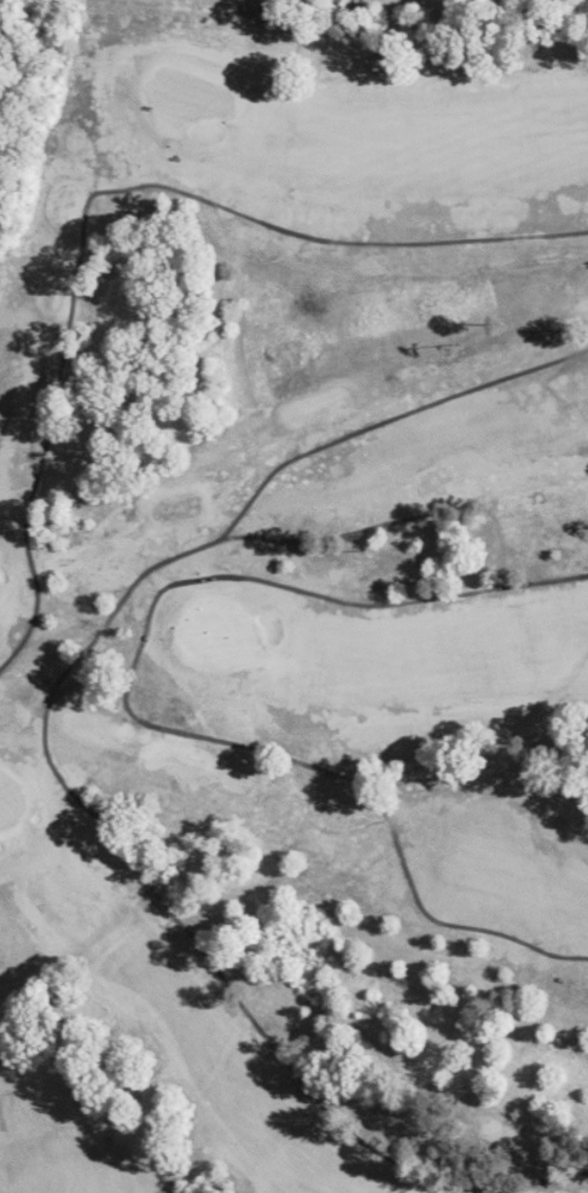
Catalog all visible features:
road: (97, 191)
road: (386, 418)
park: (292, 602)
road: (128, 708)
road: (110, 827)

